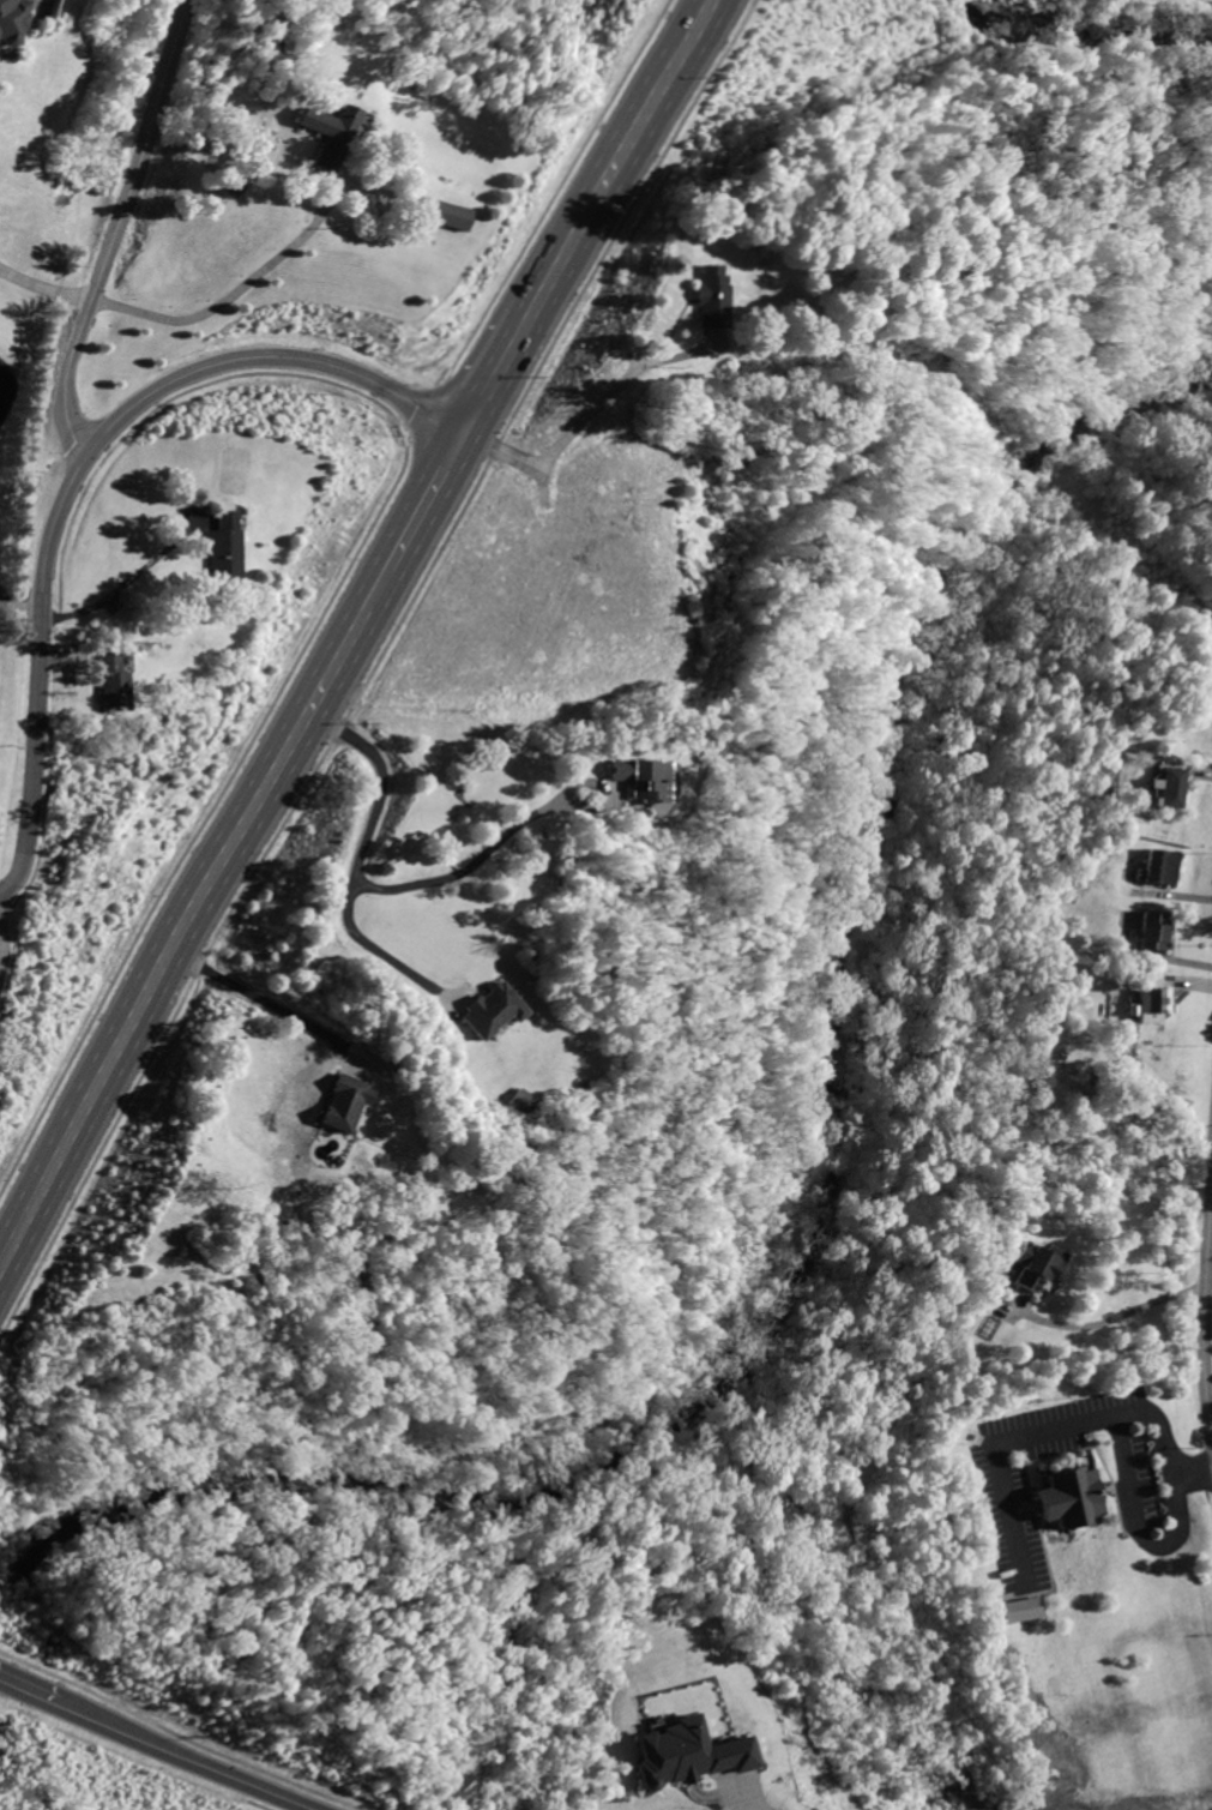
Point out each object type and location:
building: (7, 19)
building: (326, 132)
road: (622, 156)
building: (447, 215)
road: (115, 228)
road: (42, 285)
road: (231, 293)
building: (711, 296)
road: (271, 354)
road: (500, 372)
road: (590, 416)
road: (429, 498)
building: (223, 546)
road: (117, 581)
road: (20, 601)
road: (38, 674)
building: (113, 680)
building: (644, 778)
building: (1171, 786)
road: (354, 853)
road: (472, 858)
building: (1162, 866)
road: (193, 915)
building: (1153, 928)
road: (1, 940)
road: (1157, 957)
road: (269, 999)
building: (1152, 1003)
building: (489, 1009)
building: (523, 1100)
building: (348, 1101)
building: (1032, 1263)
road: (1204, 1315)
road: (1101, 1321)
road: (1062, 1421)
parking lot: (1005, 1489)
building: (1071, 1495)
road: (1134, 1523)
building: (1023, 1607)
road: (32, 1691)
building: (686, 1752)
road: (193, 1757)
road: (742, 1793)

